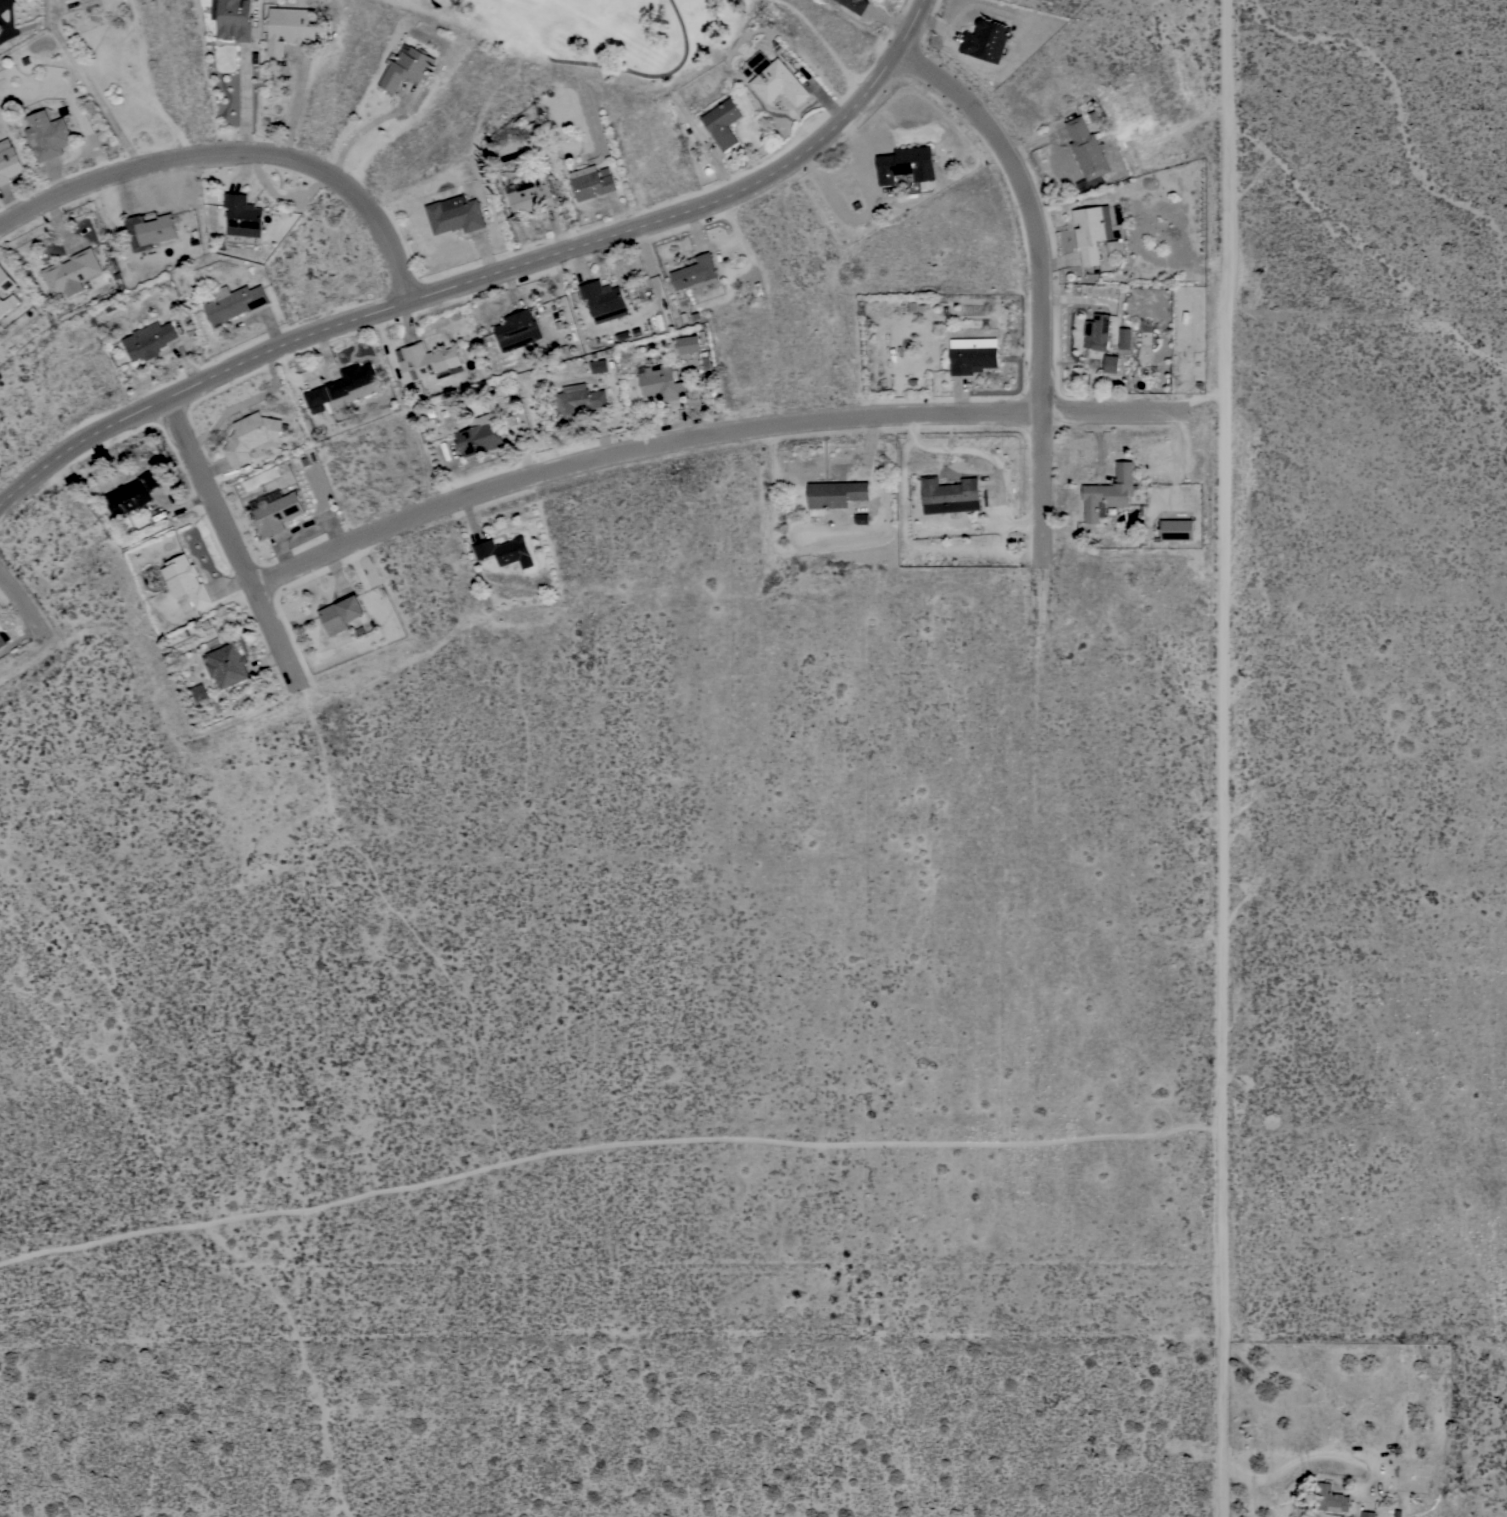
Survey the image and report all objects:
building: (59, 0)
building: (63, 0)
building: (855, 5)
building: (232, 18)
building: (0, 25)
building: (290, 27)
park: (621, 28)
building: (986, 40)
building: (407, 66)
building: (779, 83)
road: (91, 88)
road: (245, 101)
road: (296, 104)
building: (723, 123)
building: (47, 135)
road: (360, 135)
building: (1086, 148)
road: (235, 153)
building: (9, 161)
building: (906, 164)
building: (592, 181)
building: (530, 195)
building: (455, 214)
building: (243, 215)
building: (150, 230)
building: (1092, 230)
building: (72, 272)
building: (695, 272)
road: (484, 274)
road: (1042, 276)
building: (6, 280)
building: (604, 300)
building: (234, 302)
building: (8, 304)
building: (517, 330)
building: (1097, 331)
building: (1124, 338)
building: (149, 340)
building: (689, 344)
building: (972, 355)
building: (427, 361)
building: (1110, 363)
building: (598, 364)
building: (660, 383)
building: (344, 387)
building: (576, 401)
road: (706, 434)
building: (251, 436)
building: (479, 436)
building: (949, 491)
building: (1109, 492)
building: (132, 493)
building: (835, 494)
building: (277, 512)
building: (861, 517)
building: (1176, 529)
road: (234, 542)
building: (505, 551)
building: (186, 581)
road: (17, 601)
building: (340, 614)
building: (2, 640)
building: (227, 664)
road: (1223, 758)
building: (1330, 1498)
building: (1367, 1514)

